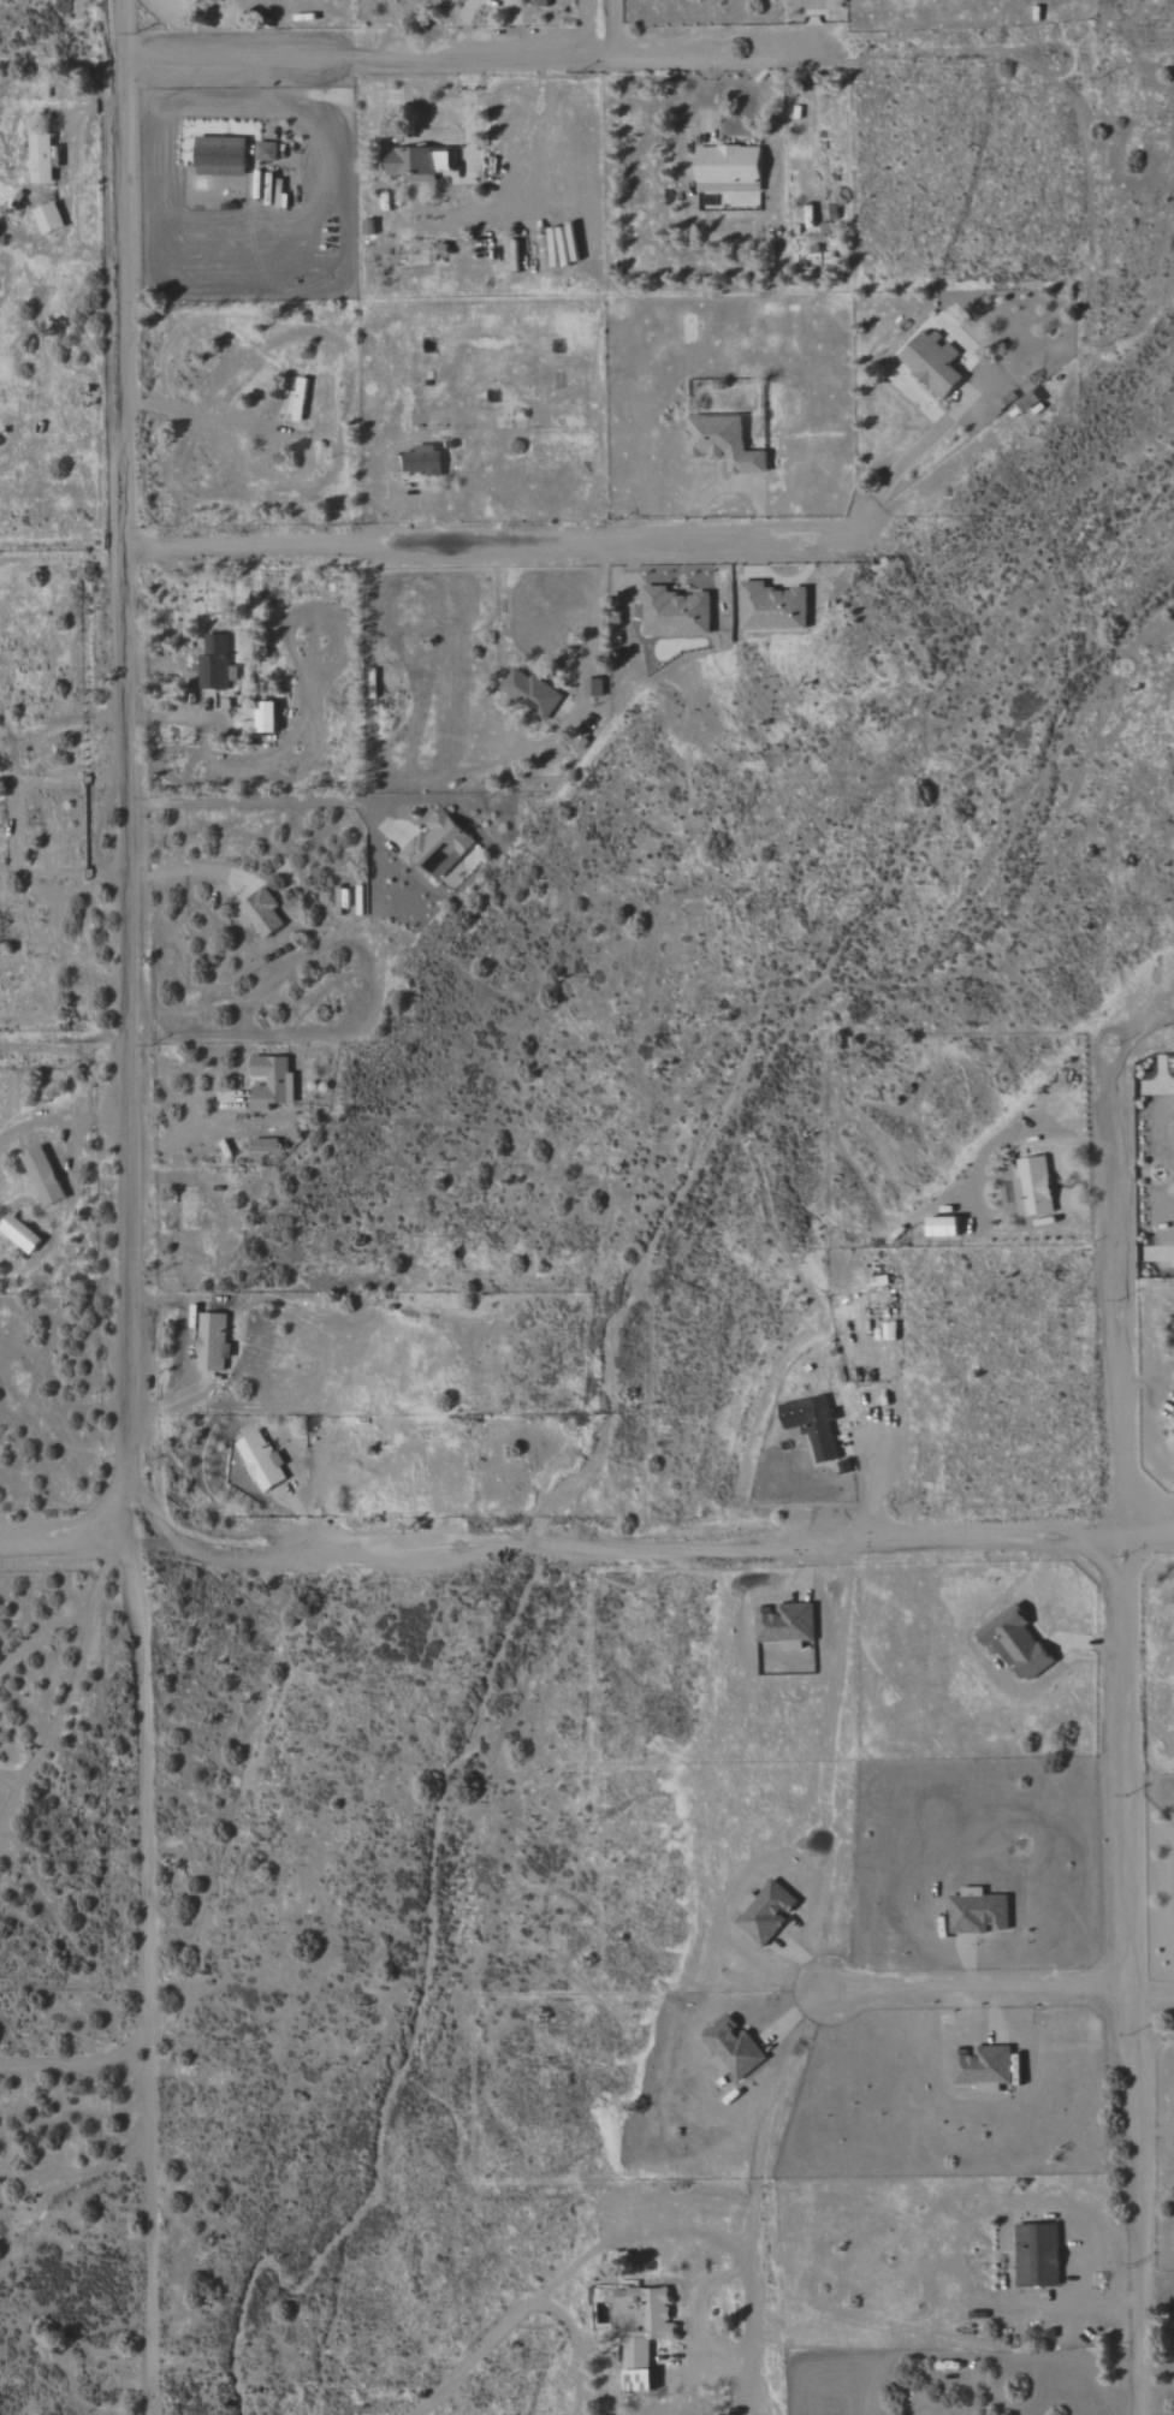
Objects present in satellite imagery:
building: (212, 0)
building: (539, 2)
road: (512, 25)
road: (463, 28)
road: (812, 28)
road: (586, 29)
road: (350, 58)
road: (696, 58)
road: (708, 99)
road: (466, 115)
building: (220, 156)
building: (40, 158)
building: (411, 164)
building: (727, 167)
building: (48, 218)
building: (932, 362)
building: (298, 400)
building: (723, 443)
building: (422, 459)
road: (897, 469)
road: (729, 485)
road: (482, 542)
road: (598, 599)
building: (772, 607)
building: (676, 612)
building: (594, 687)
building: (532, 693)
building: (266, 717)
road: (128, 776)
road: (16, 826)
building: (438, 845)
road: (376, 918)
road: (61, 1049)
building: (272, 1084)
road: (58, 1120)
road: (180, 1133)
road: (1067, 1143)
building: (42, 1175)
building: (1033, 1186)
building: (943, 1226)
building: (19, 1233)
road: (1140, 1253)
road: (1108, 1301)
road: (178, 1312)
building: (211, 1341)
road: (1146, 1383)
road: (168, 1401)
building: (813, 1425)
building: (260, 1460)
road: (879, 1468)
road: (587, 1547)
road: (94, 1583)
building: (785, 1625)
road: (38, 1632)
building: (1015, 1643)
road: (61, 1709)
building: (765, 1912)
building: (978, 1912)
road: (817, 1926)
road: (1132, 1976)
road: (140, 1983)
road: (1154, 2015)
building: (734, 2048)
road: (72, 2064)
building: (983, 2067)
building: (1037, 2255)
road: (957, 2275)
road: (521, 2309)
building: (640, 2331)
road: (675, 2405)

